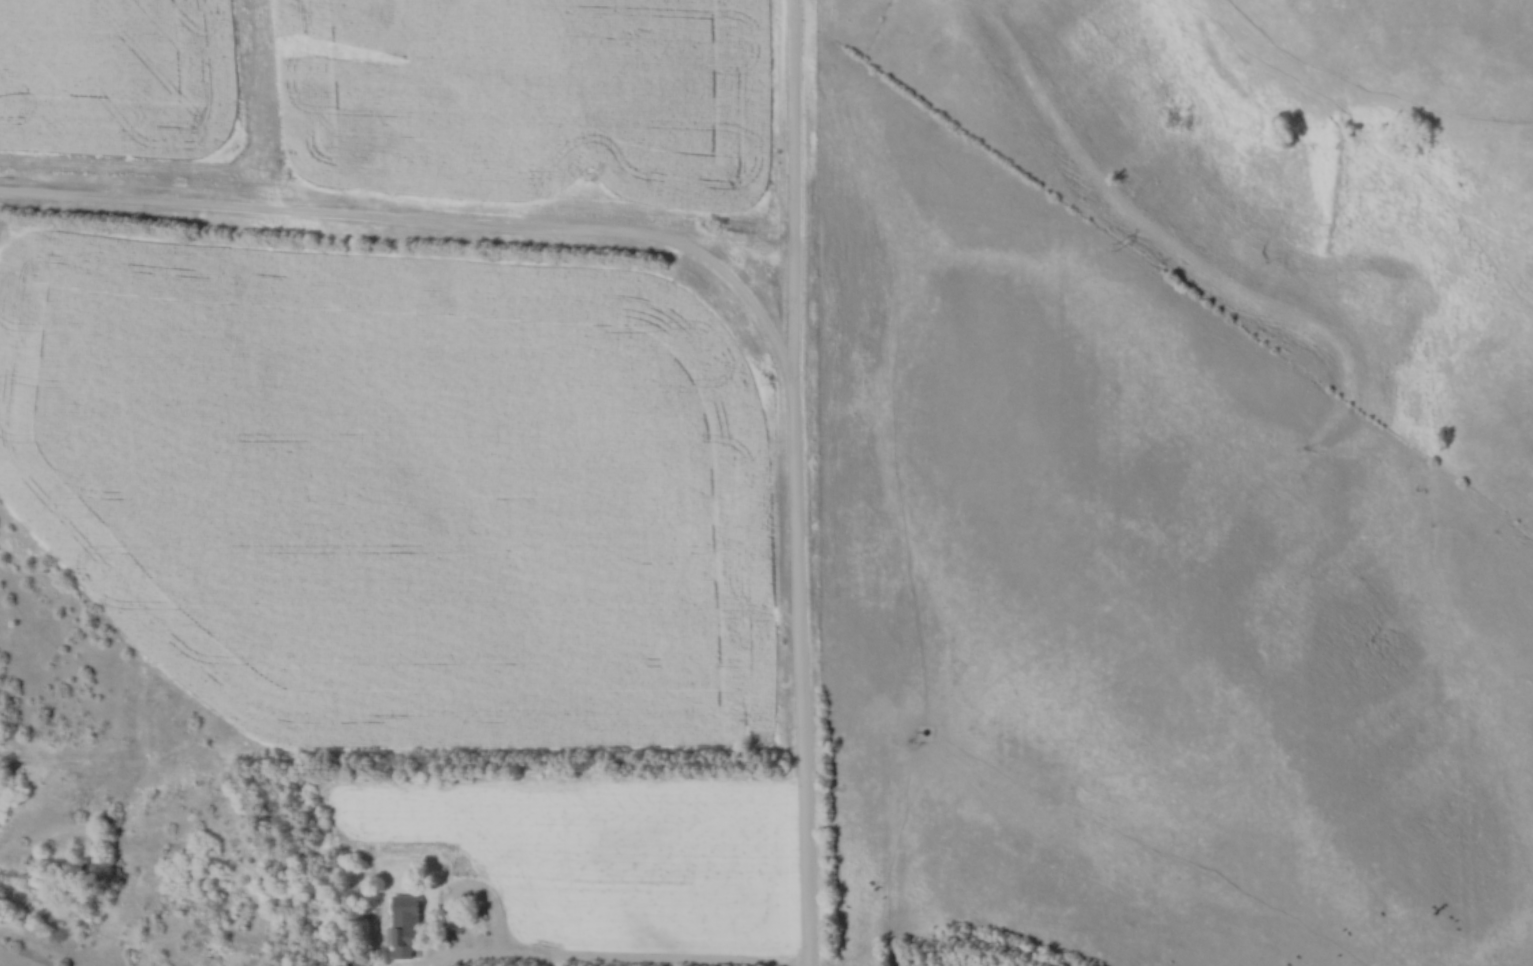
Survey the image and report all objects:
road: (436, 223)
road: (798, 483)
building: (406, 940)
building: (356, 961)
road: (538, 963)

